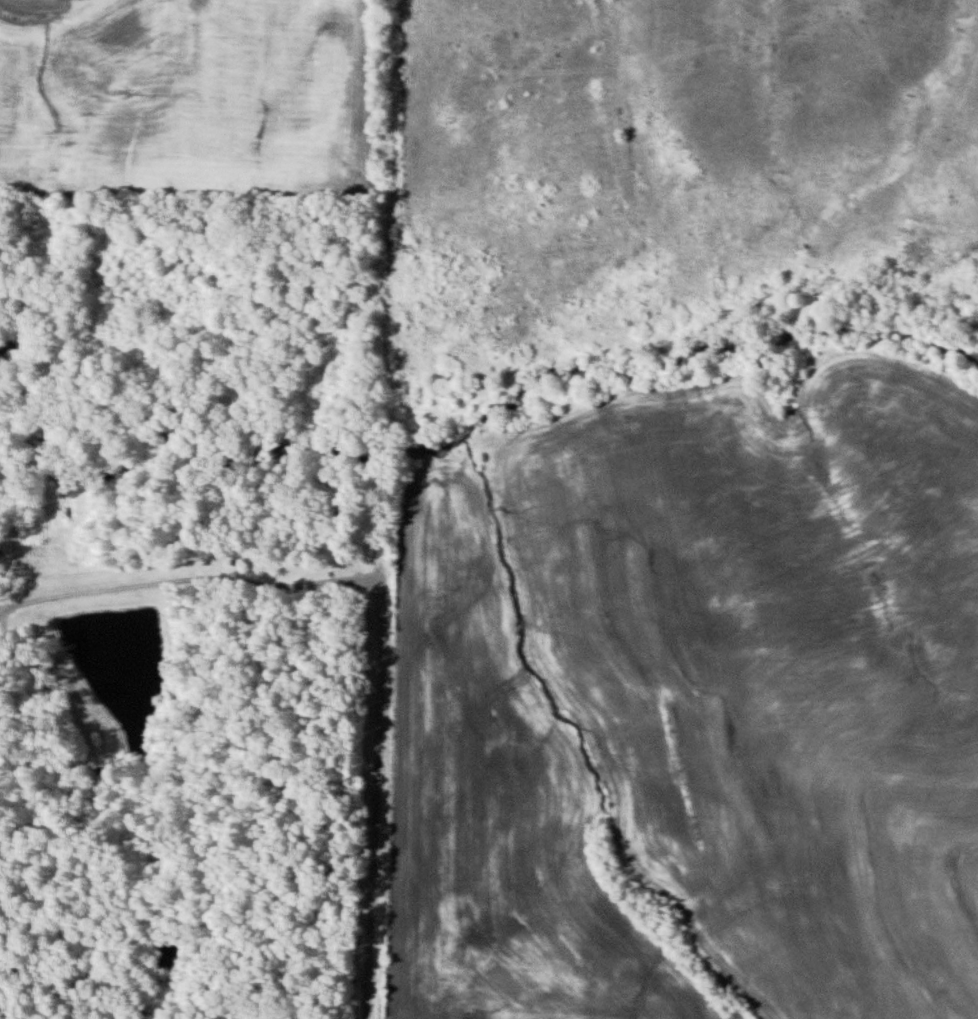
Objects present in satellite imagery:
road: (373, 619)

